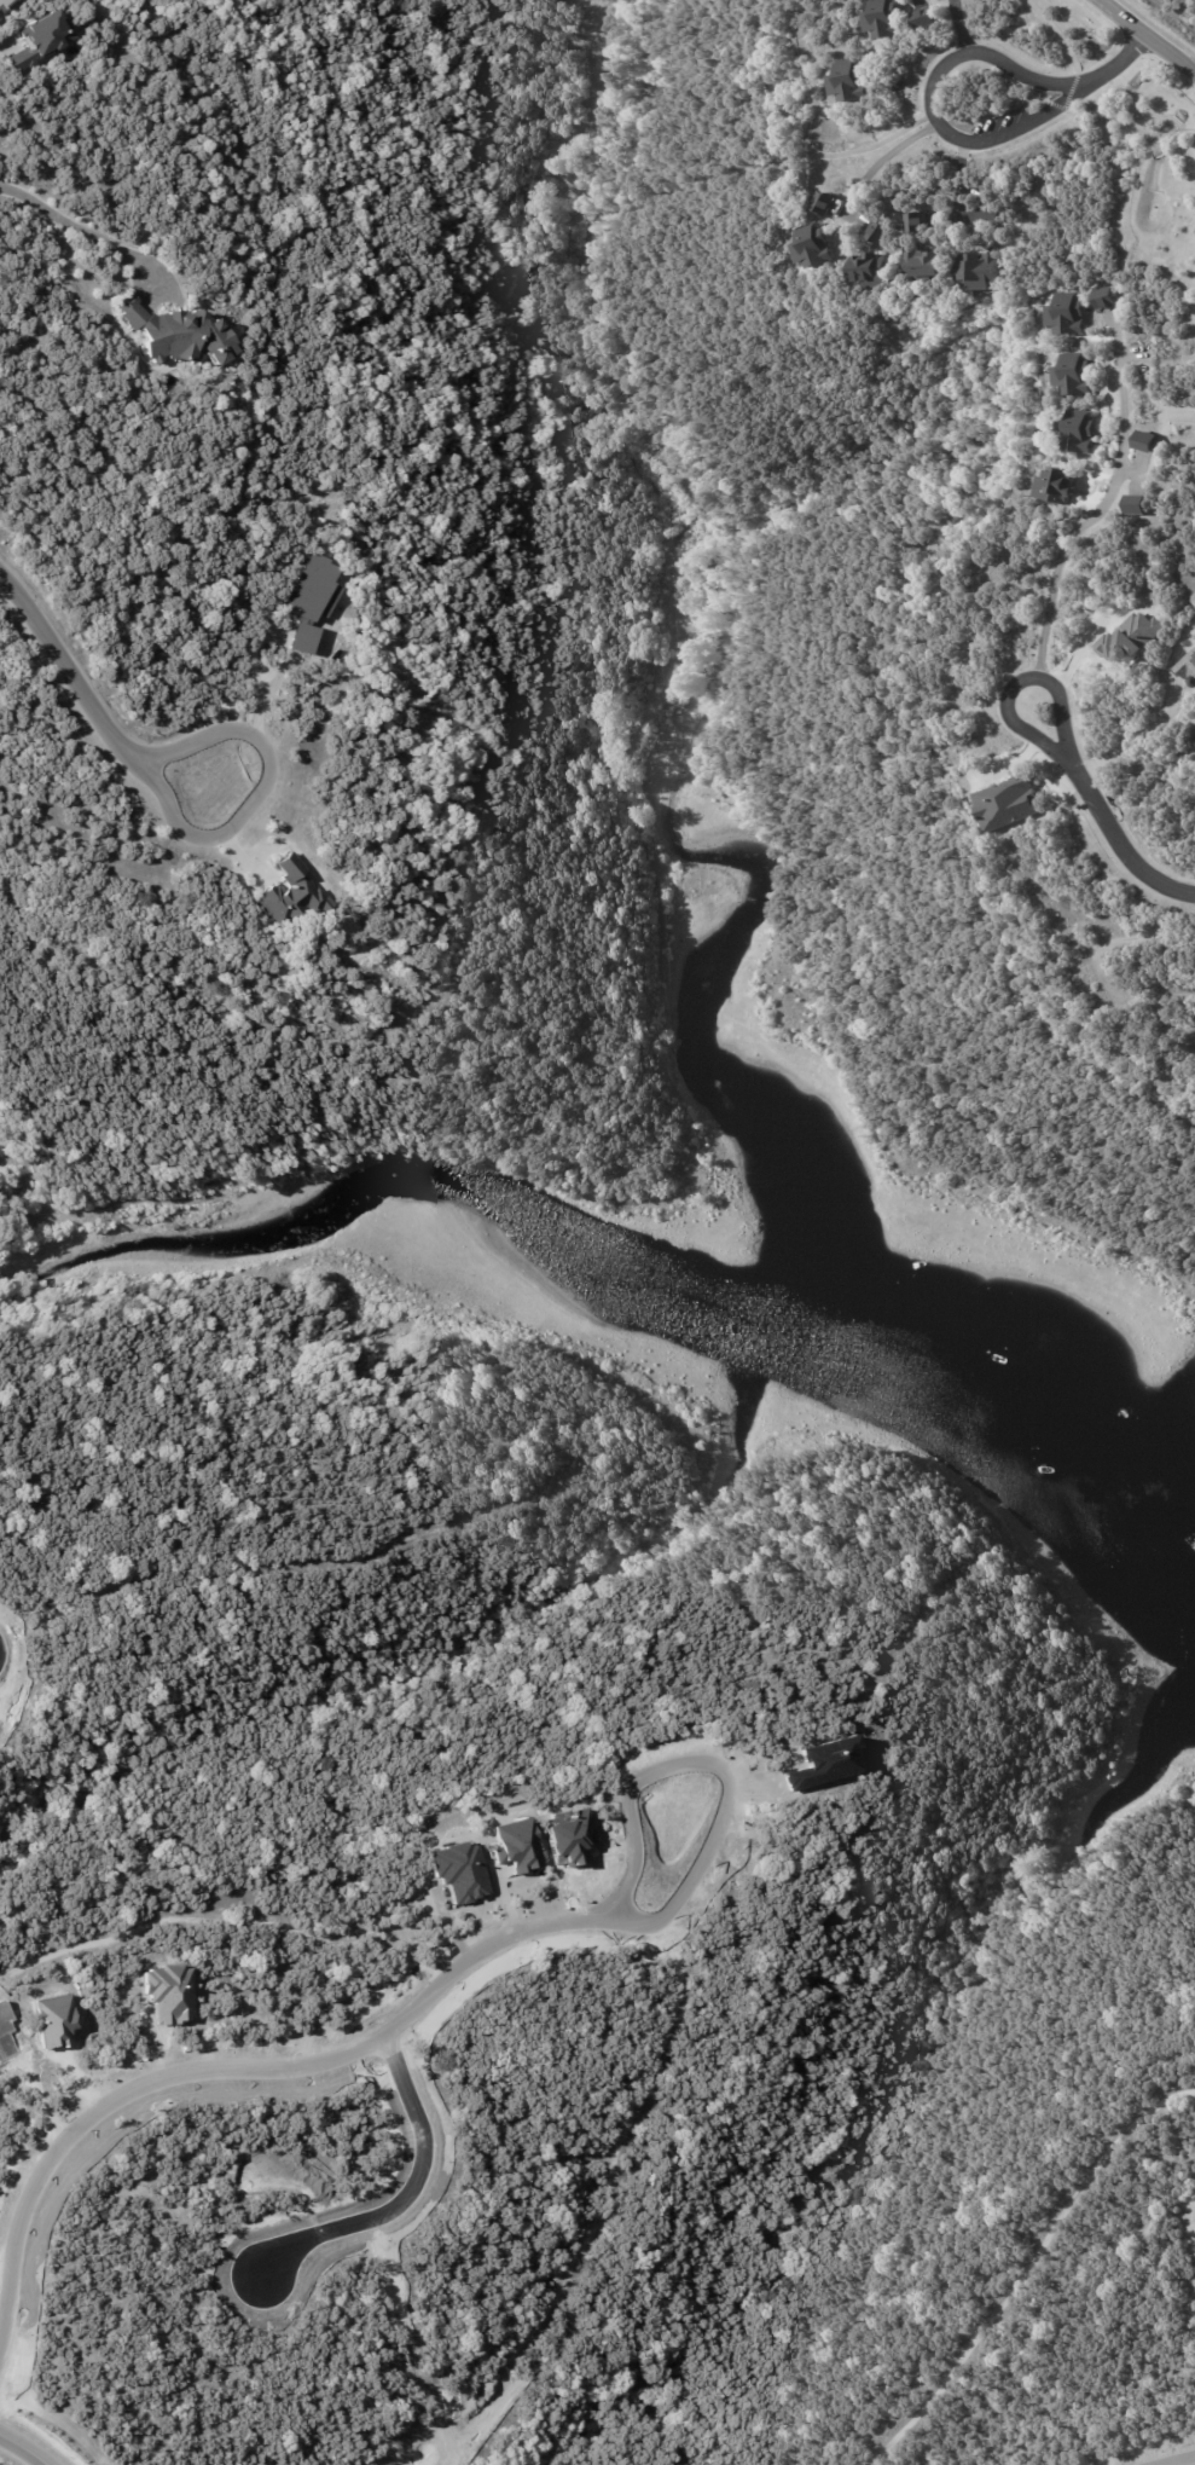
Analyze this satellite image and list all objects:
building: (8, 6)
building: (932, 17)
building: (889, 18)
road: (959, 27)
road: (1148, 37)
building: (39, 39)
road: (7, 41)
road: (1124, 62)
building: (854, 81)
road: (935, 103)
road: (883, 156)
road: (958, 177)
building: (830, 202)
building: (993, 215)
road: (70, 221)
building: (921, 221)
building: (886, 232)
building: (822, 247)
building: (932, 266)
building: (984, 270)
building: (880, 272)
building: (1109, 299)
building: (1072, 314)
building: (178, 332)
building: (1079, 375)
road: (1179, 413)
building: (1083, 432)
building: (1150, 441)
building: (1060, 485)
road: (1101, 503)
building: (1139, 505)
building: (1138, 638)
road: (69, 667)
building: (1190, 669)
road: (1016, 684)
road: (260, 693)
road: (1148, 729)
road: (259, 794)
road: (1119, 841)
building: (292, 896)
building: (2, 1152)
road: (451, 1985)
road: (23, 2450)
road: (1176, 2460)

